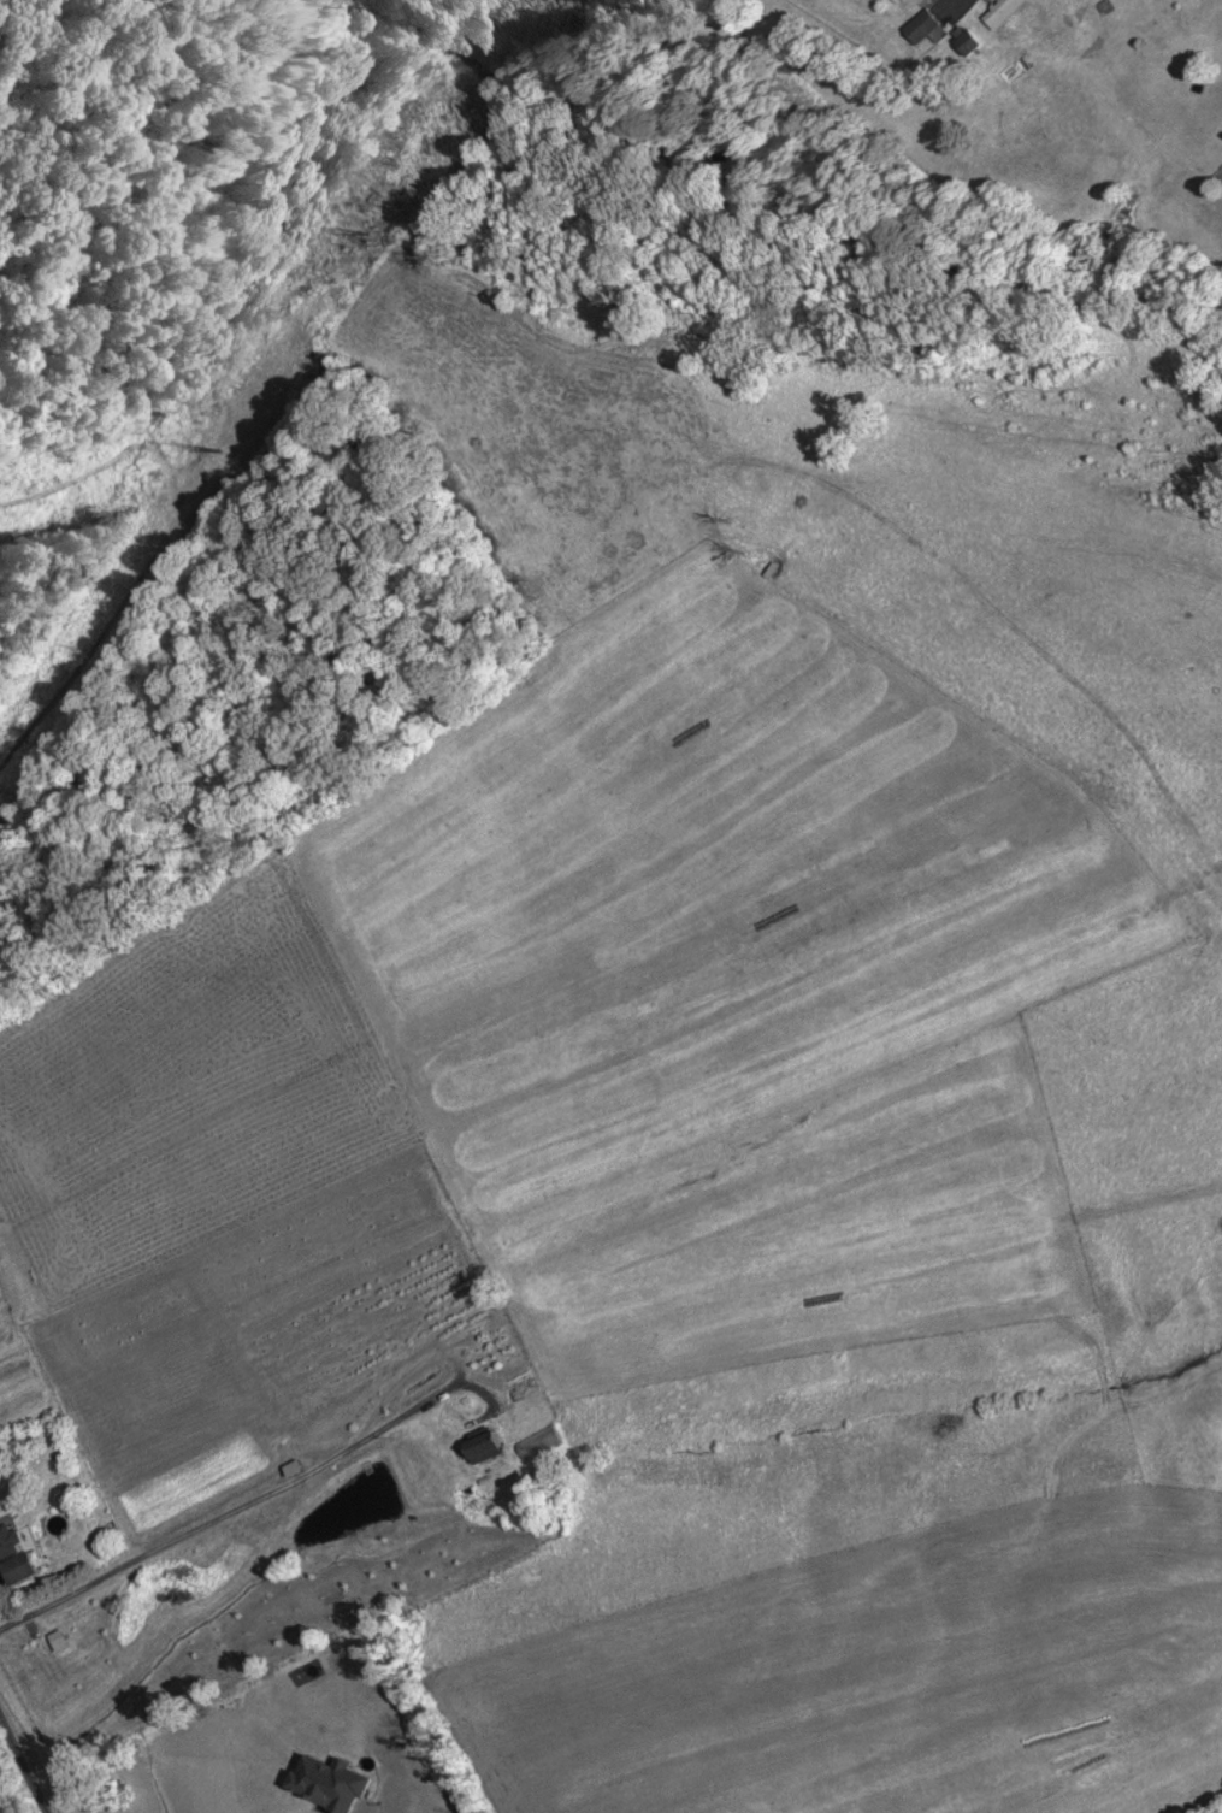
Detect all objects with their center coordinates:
road: (958, 1)
building: (998, 13)
building: (921, 30)
building: (963, 45)
building: (482, 1451)
road: (238, 1504)
building: (190, 1545)
building: (24, 1558)
road: (20, 1768)

